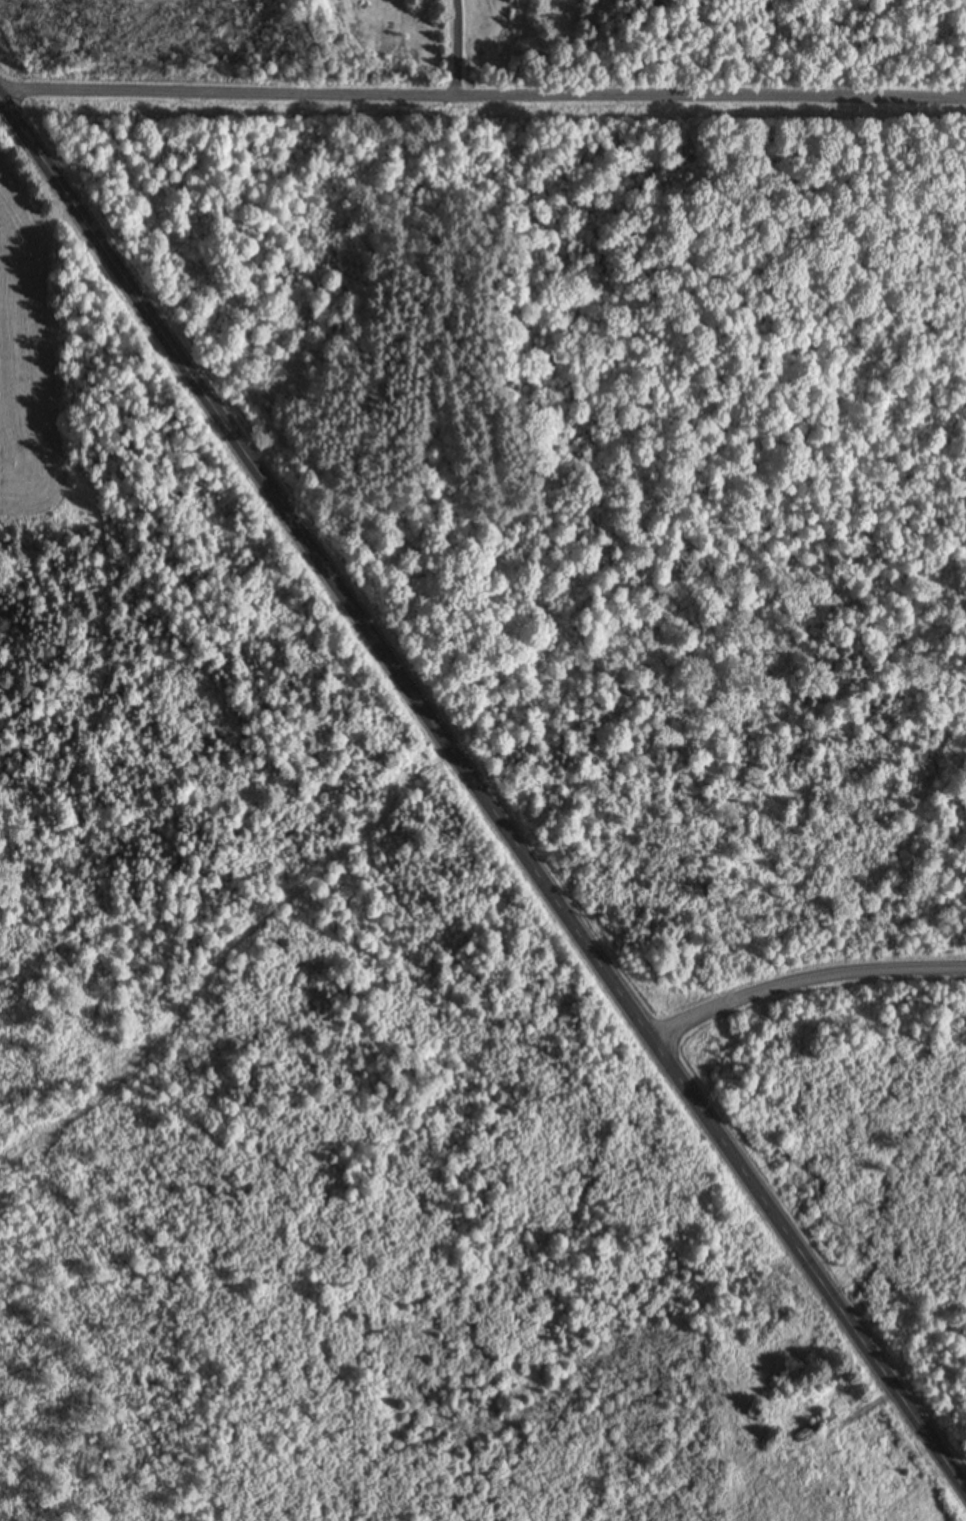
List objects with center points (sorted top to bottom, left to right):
road: (483, 92)
road: (484, 787)
road: (807, 981)
building: (814, 1427)

